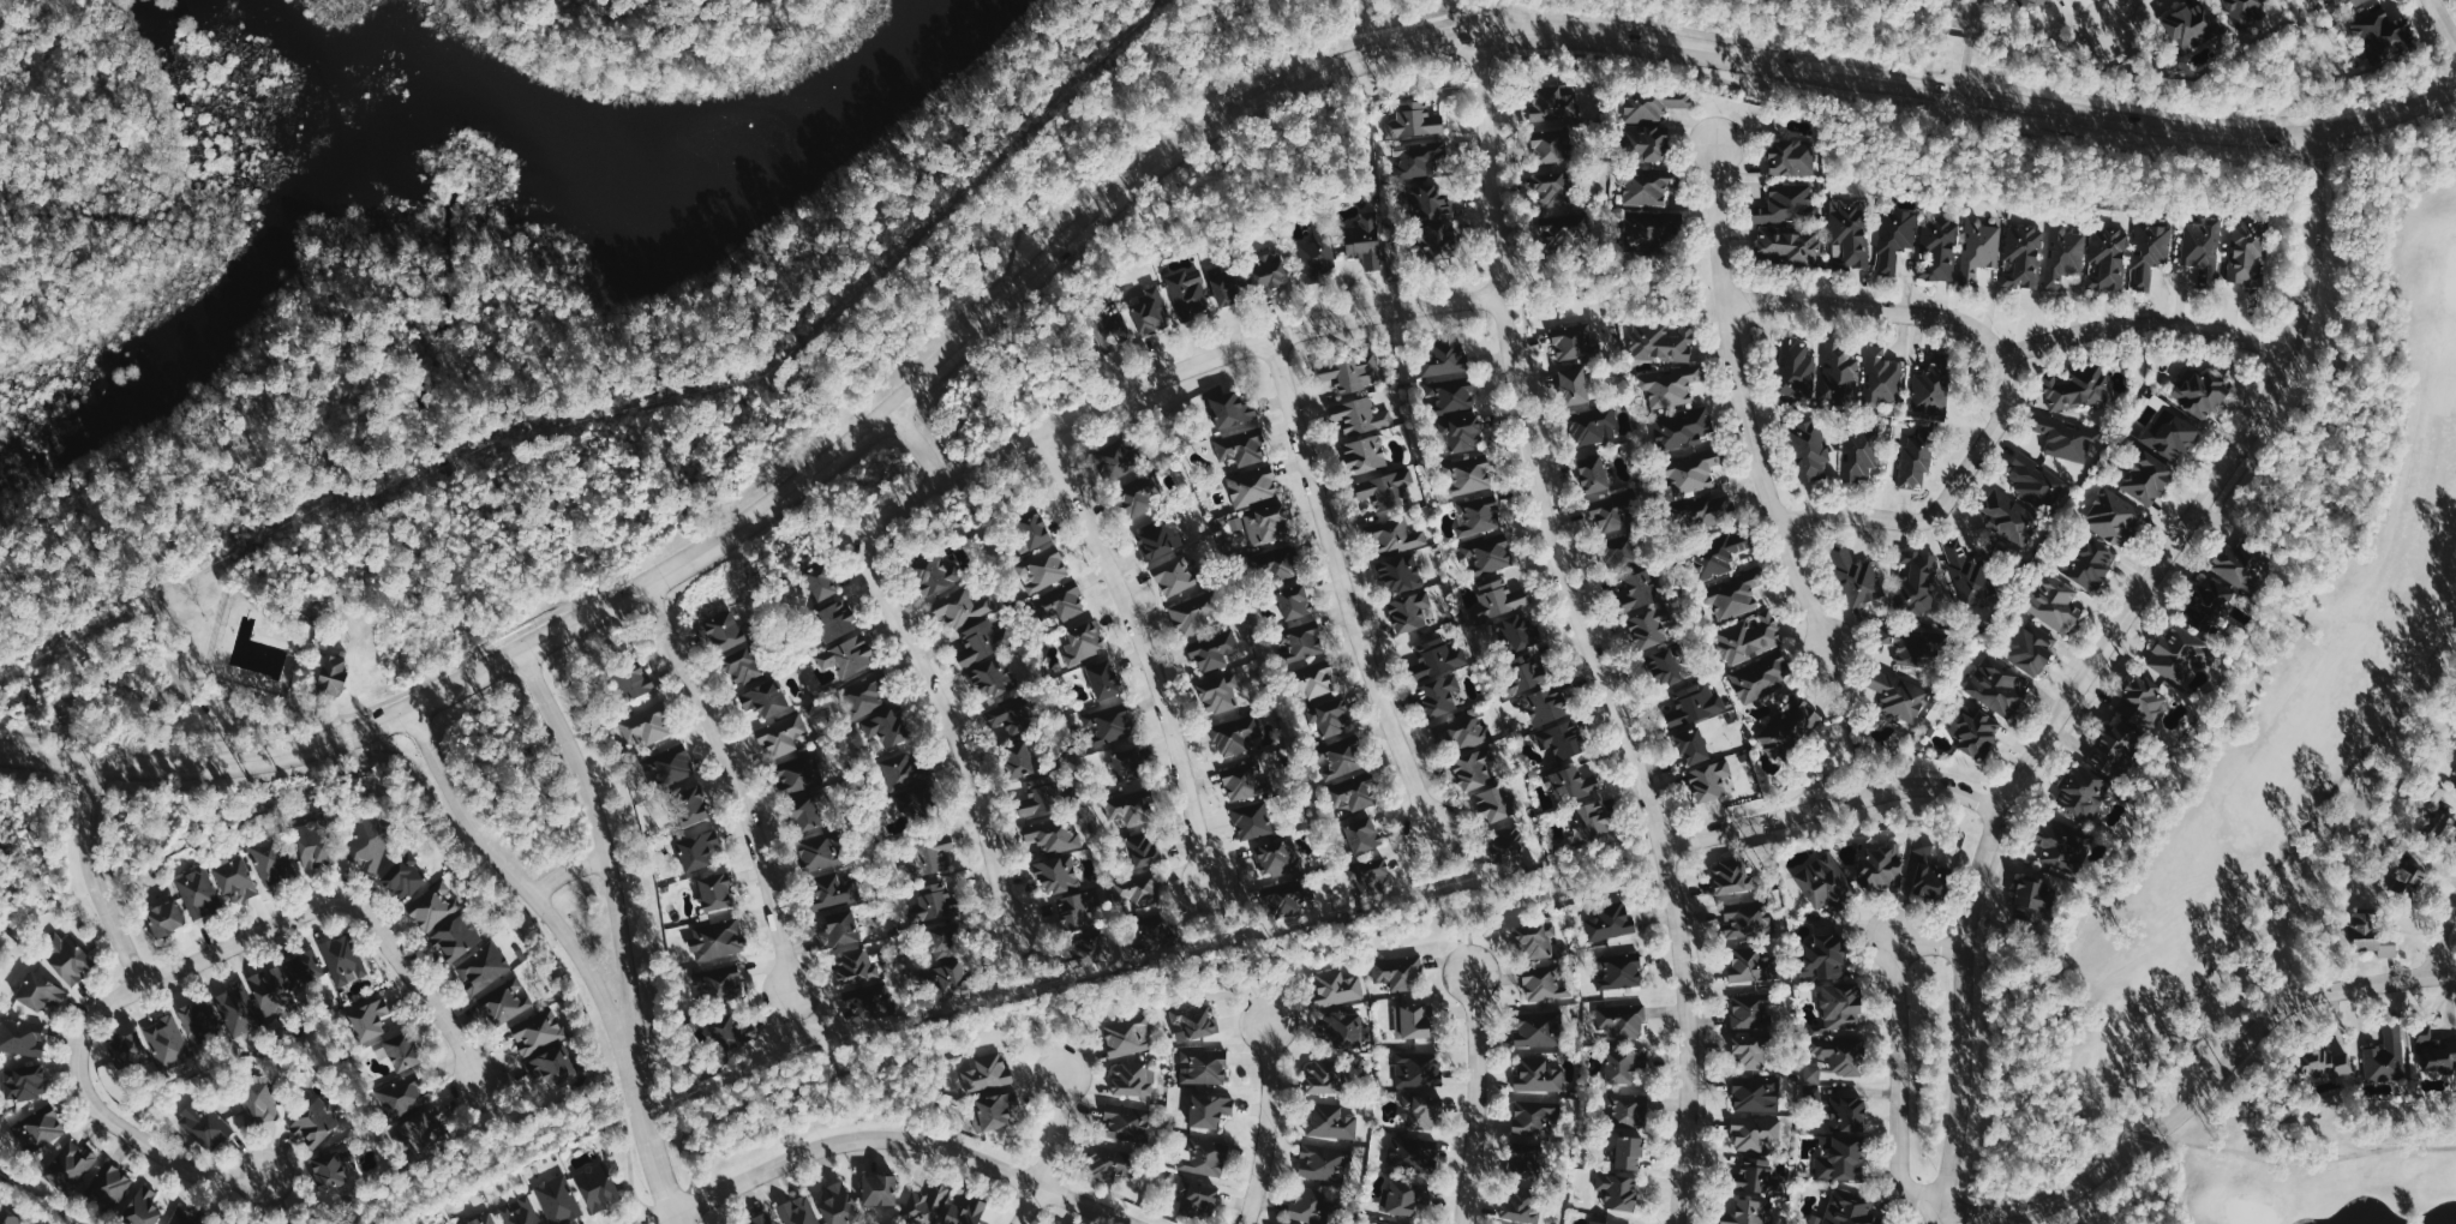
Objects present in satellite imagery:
building: (2349, 2)
building: (2029, 4)
road: (1413, 11)
road: (2120, 13)
road: (2445, 20)
park: (1346, 26)
building: (2191, 26)
road: (1622, 32)
building: (2383, 35)
building: (1552, 103)
building: (1414, 120)
building: (1649, 121)
road: (1142, 146)
building: (1790, 157)
building: (1421, 161)
building: (1646, 186)
building: (1549, 190)
building: (1787, 204)
building: (1431, 223)
building: (1653, 229)
building: (1850, 233)
building: (1895, 239)
building: (1365, 241)
building: (1789, 246)
building: (2203, 247)
building: (1979, 248)
building: (1939, 250)
building: (2247, 252)
building: (2150, 253)
building: (1318, 254)
building: (2063, 256)
building: (2024, 257)
building: (2109, 259)
building: (1268, 271)
building: (1226, 283)
building: (1188, 293)
building: (1150, 313)
building: (1109, 326)
building: (1569, 342)
building: (1660, 342)
road: (2012, 354)
building: (1443, 358)
building: (1797, 367)
building: (1840, 371)
building: (1350, 372)
building: (1882, 377)
building: (1573, 385)
building: (1670, 385)
building: (2077, 388)
building: (1930, 390)
road: (1131, 391)
building: (2202, 392)
building: (1449, 395)
road: (1745, 402)
building: (1230, 408)
building: (1360, 416)
building: (1592, 425)
building: (1682, 427)
building: (1461, 431)
building: (2170, 436)
building: (2067, 438)
building: (1244, 445)
road: (918, 449)
building: (1808, 450)
building: (1365, 454)
building: (1858, 454)
building: (1916, 458)
building: (1114, 460)
building: (1691, 470)
building: (1592, 473)
building: (1467, 475)
building: (2146, 476)
building: (2037, 480)
building: (1252, 485)
building: (1385, 487)
building: (1139, 496)
road: (1945, 509)
building: (1708, 511)
building: (1478, 515)
building: (1610, 516)
building: (2113, 516)
building: (2008, 517)
building: (1263, 523)
building: (1030, 528)
building: (1396, 535)
building: (1158, 538)
building: (1487, 553)
building: (1718, 554)
building: (1624, 556)
building: (2089, 564)
building: (2236, 564)
building: (1281, 565)
building: (1043, 569)
building: (934, 572)
building: (1400, 572)
building: (1969, 572)
building: (1175, 575)
building: (1855, 576)
building: (820, 580)
building: (1917, 581)
road: (1343, 587)
building: (1640, 589)
building: (1498, 596)
building: (1735, 596)
building: (1294, 601)
building: (2054, 601)
building: (1060, 602)
building: (2210, 604)
building: (962, 607)
building: (1408, 610)
building: (1192, 614)
building: (833, 619)
building: (721, 626)
building: (1647, 626)
building: (1518, 631)
road: (1588, 632)
building: (1885, 635)
building: (1749, 637)
building: (982, 641)
building: (1083, 641)
building: (1302, 642)
building: (2031, 647)
road: (1148, 650)
building: (1214, 650)
building: (2180, 653)
building: (846, 655)
building: (1437, 658)
building: (741, 665)
building: (1666, 666)
road: (2104, 671)
road: (479, 673)
building: (1521, 673)
building: (331, 674)
building: (993, 677)
building: (1760, 677)
building: (1103, 679)
building: (1314, 679)
building: (633, 680)
building: (1996, 684)
building: (1892, 692)
building: (1220, 694)
building: (1438, 695)
building: (2144, 696)
building: (763, 698)
building: (864, 700)
building: (1695, 703)
building: (1544, 704)
road: (223, 714)
building: (1331, 716)
building: (1006, 720)
building: (1108, 722)
building: (647, 725)
building: (886, 727)
building: (1789, 727)
building: (1463, 732)
building: (1976, 732)
building: (1235, 733)
building: (783, 736)
building: (1562, 738)
building: (1691, 745)
building: (2114, 748)
building: (1017, 758)
building: (1338, 758)
road: (974, 763)
building: (672, 764)
building: (1126, 766)
building: (903, 768)
building: (1472, 769)
building: (796, 776)
building: (1708, 780)
road: (737, 781)
building: (1241, 782)
building: (1573, 784)
building: (2084, 792)
building: (2434, 792)
building: (1350, 796)
building: (911, 797)
building: (1040, 799)
building: (1491, 804)
building: (688, 805)
building: (1125, 808)
road: (1838, 808)
building: (805, 815)
building: (1252, 820)
building: (1591, 820)
building: (1050, 833)
building: (1361, 833)
road: (605, 840)
building: (312, 844)
building: (369, 844)
building: (1505, 845)
building: (2060, 846)
building: (696, 848)
building: (1140, 848)
building: (816, 852)
building: (929, 854)
building: (1277, 858)
building: (271, 860)
building: (1881, 864)
road: (1434, 865)
road: (569, 871)
building: (1928, 872)
building: (1056, 874)
building: (1373, 875)
road: (92, 876)
building: (403, 876)
road: (519, 876)
building: (1731, 876)
building: (234, 877)
building: (2406, 877)
building: (1825, 882)
building: (200, 888)
building: (829, 888)
building: (1134, 888)
building: (714, 889)
building: (1287, 899)
building: (2032, 899)
building: (934, 901)
road: (345, 902)
building: (435, 906)
building: (1078, 908)
building: (166, 910)
building: (1609, 920)
building: (1745, 920)
road: (1227, 923)
building: (838, 930)
building: (2370, 935)
building: (455, 937)
road: (1468, 937)
road: (2442, 937)
building: (715, 940)
building: (1534, 940)
building: (1090, 955)
building: (71, 956)
building: (1823, 956)
building: (343, 959)
building: (946, 965)
building: (1751, 965)
building: (853, 966)
building: (483, 967)
building: (304, 968)
building: (1617, 971)
building: (1398, 972)
building: (718, 983)
building: (1545, 983)
building: (38, 985)
building: (1336, 988)
building: (269, 989)
road: (1262, 994)
building: (867, 1001)
building: (505, 1003)
building: (1839, 1006)
building: (241, 1007)
road: (1029, 1007)
building: (1751, 1010)
building: (369, 1019)
building: (1193, 1020)
building: (1412, 1020)
building: (1622, 1020)
building: (1537, 1030)
building: (538, 1031)
building: (1344, 1031)
building: (732, 1032)
building: (22, 1036)
building: (1128, 1036)
road: (808, 1037)
road: (939, 1040)
building: (170, 1042)
building: (128, 1044)
road: (1897, 1044)
building: (402, 1050)
building: (1838, 1051)
building: (1749, 1052)
building: (2386, 1056)
building: (2437, 1057)
building: (1623, 1064)
building: (2320, 1064)
building: (551, 1066)
building: (1203, 1066)
building: (1418, 1068)
building: (987, 1073)
building: (1811, 1074)
building: (1538, 1075)
building: (1322, 1076)
building: (29, 1079)
building: (1133, 1079)
building: (1755, 1093)
building: (402, 1096)
building: (259, 1098)
road: (1476, 1099)
road: (2212, 1108)
building: (1209, 1109)
building: (1627, 1109)
road: (493, 1110)
building: (994, 1110)
building: (1426, 1112)
building: (1847, 1112)
road: (104, 1116)
building: (1532, 1116)
building: (1331, 1121)
building: (316, 1122)
building: (1126, 1122)
building: (208, 1123)
road: (1268, 1124)
building: (40, 1130)
building: (421, 1130)
building: (1755, 1132)
road: (649, 1135)
road: (891, 1139)
road: (1050, 1152)
building: (1628, 1152)
building: (1413, 1153)
building: (76, 1157)
building: (1204, 1157)
building: (1840, 1158)
building: (1108, 1162)
building: (1324, 1162)
building: (1528, 1163)
building: (328, 1170)
building: (113, 1177)
building: (1755, 1177)
building: (597, 1186)
building: (879, 1189)
building: (1618, 1190)
building: (1196, 1195)
building: (1406, 1198)
road: (277, 1199)
building: (558, 1199)
building: (838, 1204)
building: (146, 1205)
building: (926, 1205)
building: (1311, 1206)
building: (1518, 1206)
building: (1847, 1210)
building: (797, 1211)
building: (521, 1212)
building: (964, 1212)
building: (1749, 1212)
building: (8, 1217)
building: (184, 1218)
building: (483, 1219)
building: (759, 1219)
building: (38, 1220)
building: (1594, 1222)
building: (1380, 1223)

